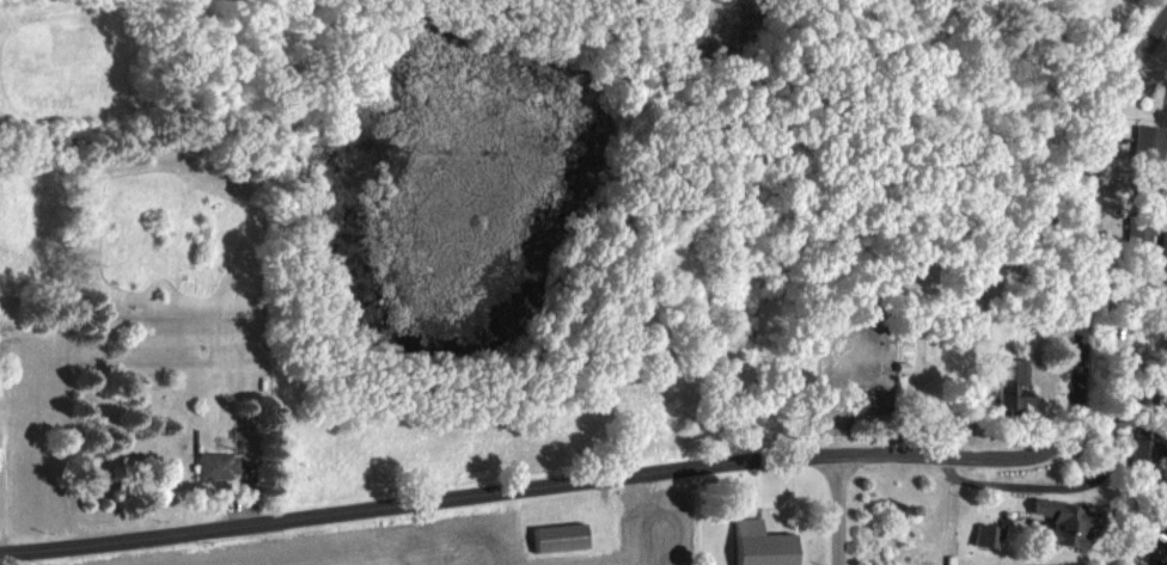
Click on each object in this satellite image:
building: (1151, 142)
building: (1143, 221)
building: (1019, 382)
road: (1114, 423)
building: (1147, 448)
road: (753, 462)
building: (218, 465)
road: (835, 510)
building: (1070, 521)
building: (1161, 533)
building: (558, 538)
building: (766, 549)

